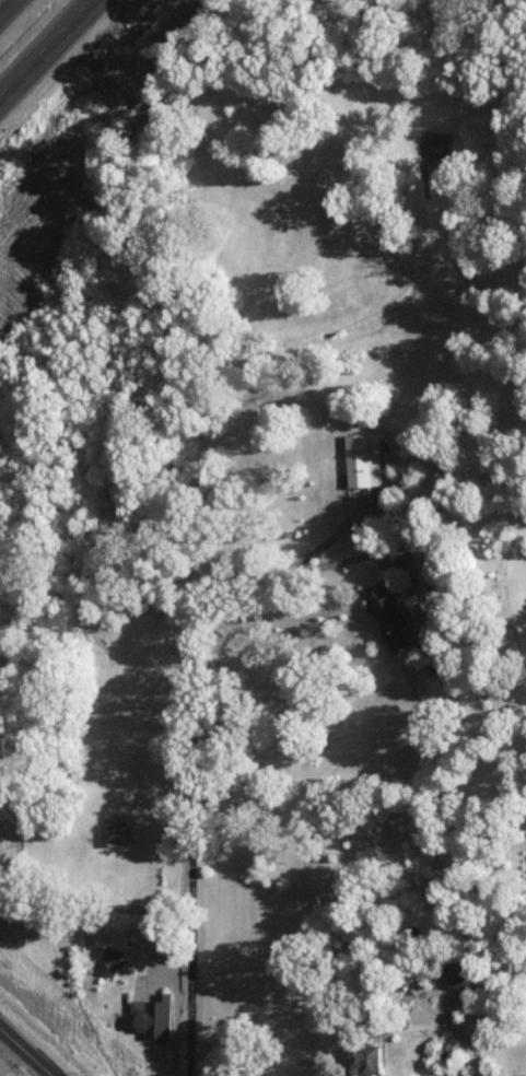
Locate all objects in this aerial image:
road: (16, 17)
road: (59, 23)
road: (61, 23)
road: (19, 66)
building: (365, 458)
building: (393, 615)
road: (195, 697)
building: (115, 831)
road: (168, 946)
building: (154, 958)
building: (466, 974)
road: (8, 984)
road: (8, 1014)
building: (153, 1015)
road: (30, 1040)
road: (453, 1051)
building: (369, 1055)
road: (23, 1060)

